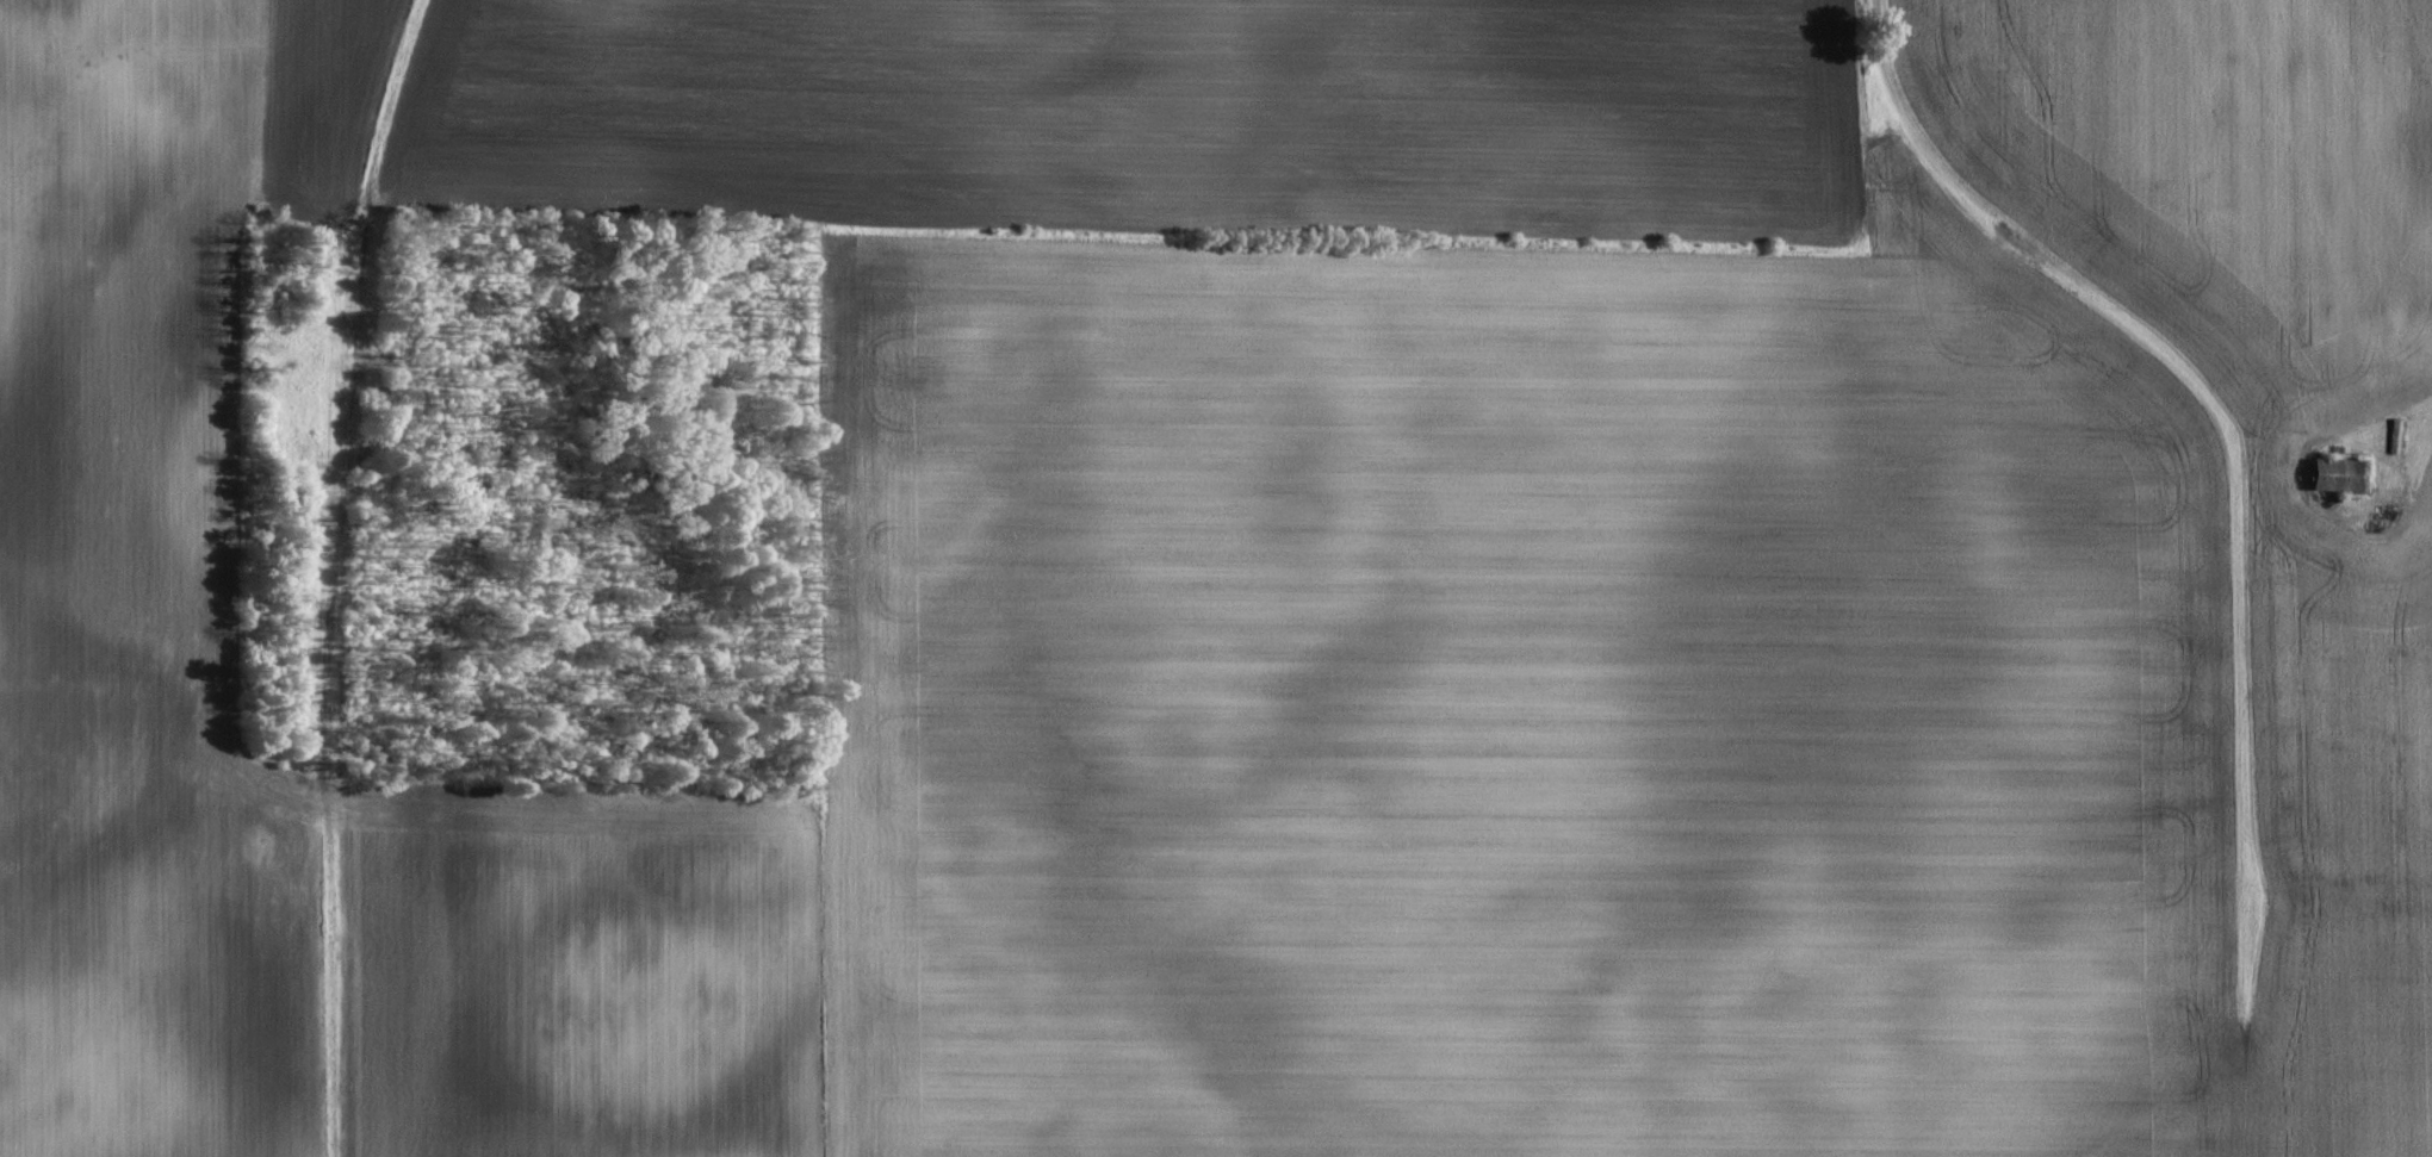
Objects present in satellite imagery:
road: (2375, 422)
building: (2332, 477)

